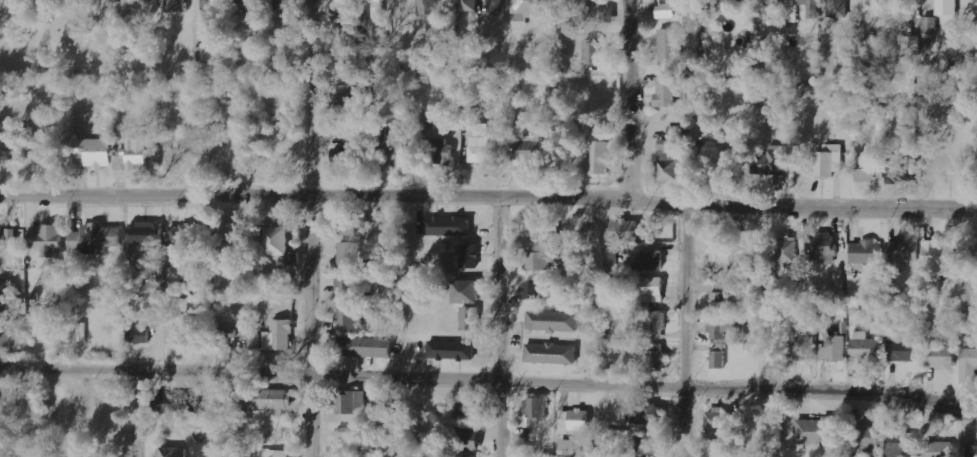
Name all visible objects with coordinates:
building: (722, 0)
building: (882, 2)
building: (137, 3)
building: (773, 3)
building: (282, 4)
building: (174, 5)
building: (469, 5)
building: (499, 5)
building: (211, 6)
building: (341, 6)
building: (254, 7)
building: (811, 7)
building: (377, 8)
building: (428, 8)
building: (837, 8)
building: (594, 10)
building: (528, 11)
building: (665, 11)
building: (791, 11)
building: (948, 11)
building: (929, 25)
building: (342, 39)
park: (54, 40)
building: (909, 45)
building: (668, 47)
building: (593, 52)
building: (207, 56)
building: (492, 83)
building: (665, 92)
building: (456, 93)
road: (628, 99)
building: (343, 100)
building: (675, 132)
building: (483, 145)
building: (15, 146)
building: (528, 147)
building: (440, 151)
building: (94, 152)
building: (395, 153)
building: (134, 155)
building: (344, 157)
building: (599, 158)
building: (829, 160)
building: (775, 161)
building: (670, 165)
building: (867, 168)
building: (900, 170)
road: (488, 193)
building: (449, 226)
building: (351, 227)
road: (311, 228)
building: (624, 230)
building: (539, 231)
building: (146, 233)
building: (185, 235)
building: (8, 236)
building: (229, 237)
building: (95, 238)
building: (46, 240)
building: (278, 246)
building: (824, 247)
building: (787, 252)
building: (350, 253)
building: (902, 253)
building: (866, 254)
building: (470, 256)
building: (719, 256)
building: (939, 257)
building: (610, 259)
building: (650, 261)
building: (538, 262)
building: (346, 286)
building: (533, 289)
building: (651, 290)
building: (467, 292)
building: (8, 296)
building: (718, 300)
building: (349, 319)
building: (470, 319)
building: (552, 321)
road: (501, 325)
building: (655, 325)
building: (719, 330)
building: (13, 331)
building: (182, 332)
road: (683, 332)
building: (139, 335)
building: (280, 335)
building: (366, 347)
building: (804, 348)
building: (901, 348)
building: (833, 349)
building: (451, 351)
building: (551, 353)
building: (718, 356)
building: (939, 356)
building: (656, 357)
building: (968, 365)
road: (489, 379)
building: (274, 400)
building: (352, 403)
building: (464, 406)
road: (132, 413)
building: (647, 414)
building: (535, 416)
building: (574, 420)
building: (3, 427)
building: (814, 431)
building: (350, 436)
building: (868, 437)
building: (467, 441)
building: (647, 444)
building: (901, 444)
building: (569, 447)
building: (939, 449)
building: (972, 451)
building: (172, 452)
building: (279, 453)

